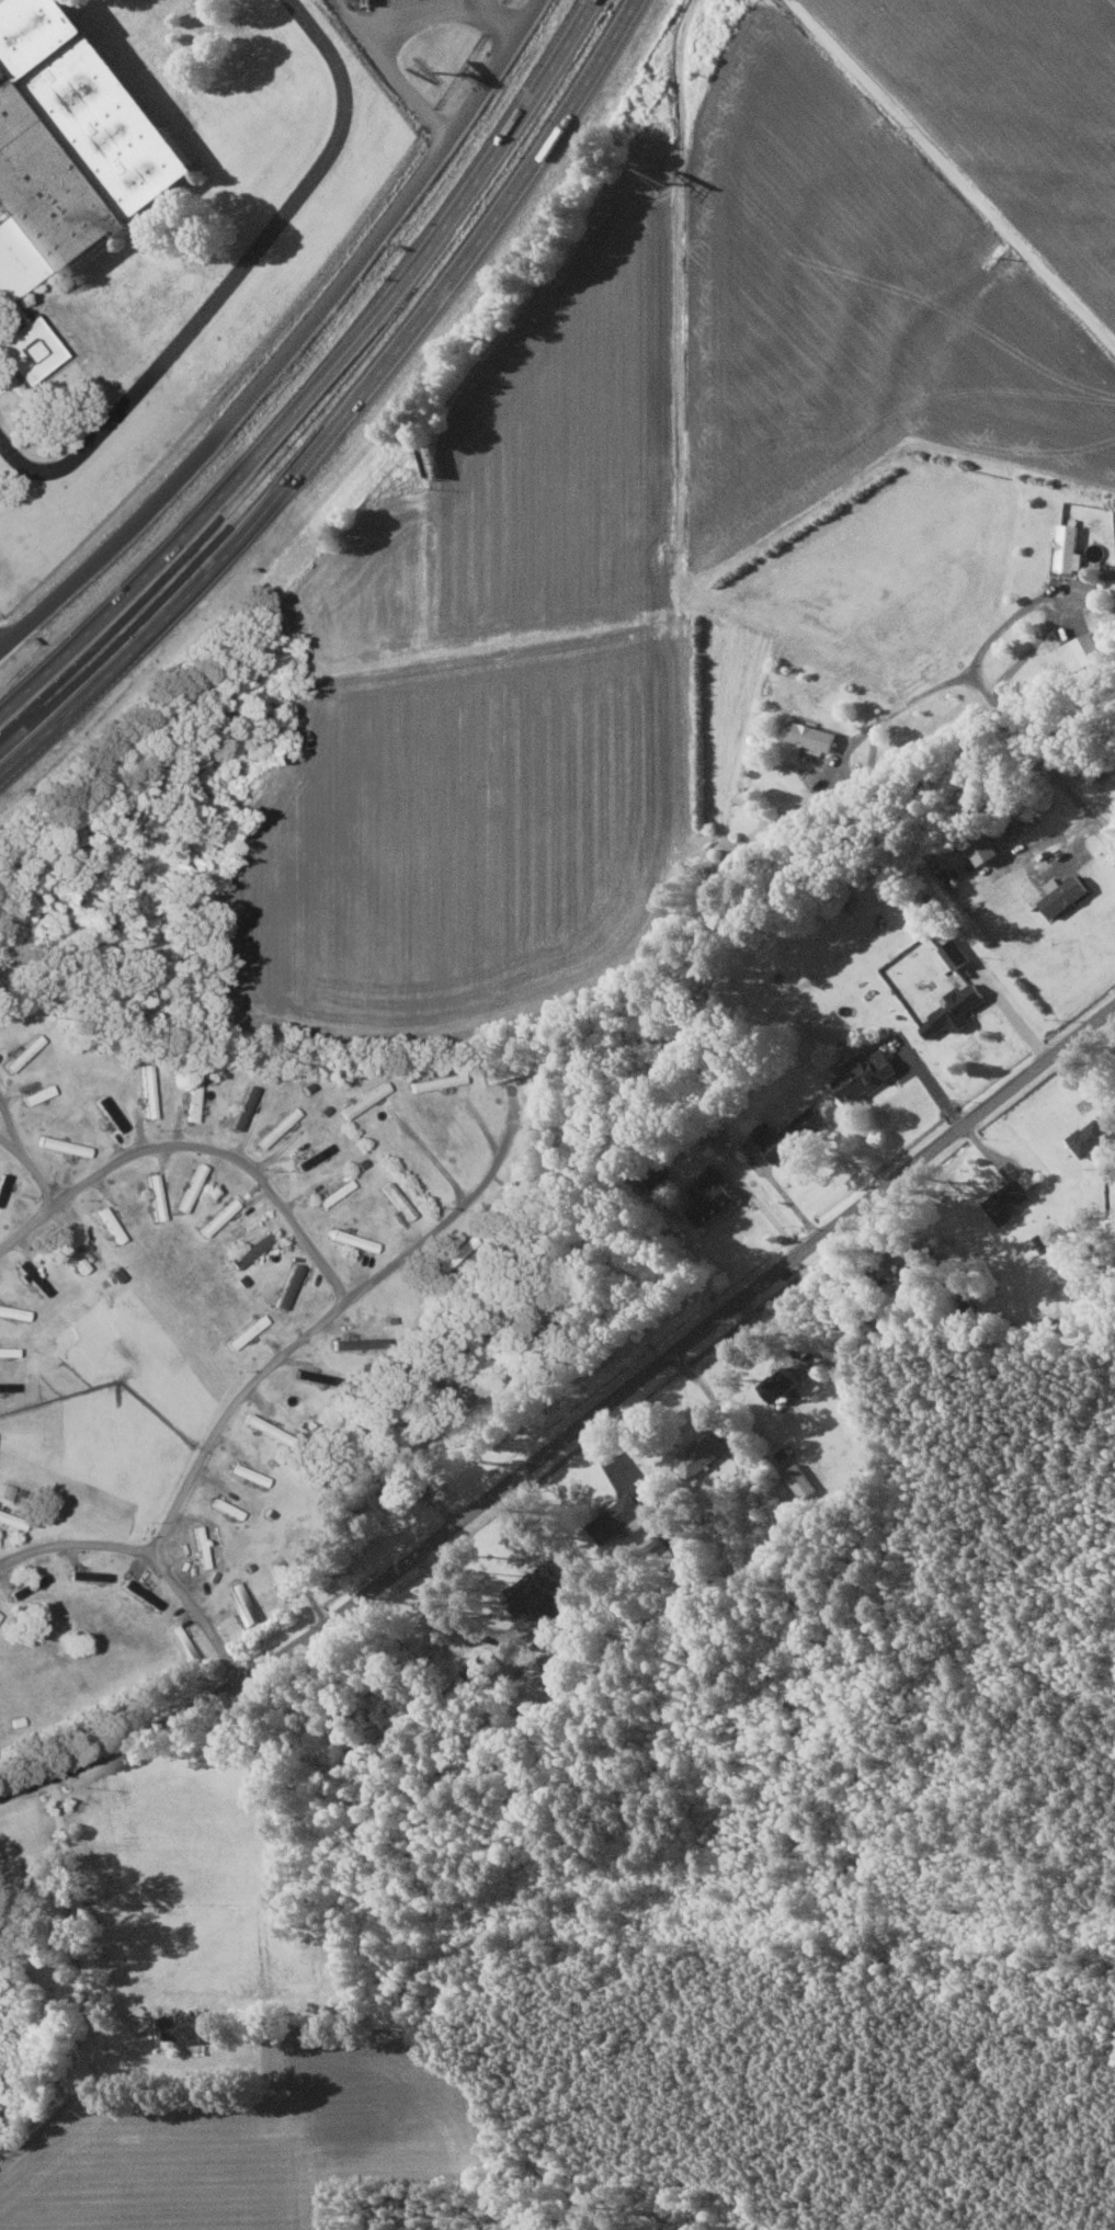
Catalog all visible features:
building: (68, 144)
road: (948, 173)
road: (292, 343)
building: (27, 351)
road: (689, 360)
road: (326, 383)
road: (352, 412)
building: (1068, 550)
road: (1004, 629)
building: (1082, 652)
road: (908, 705)
building: (810, 737)
road: (1043, 758)
building: (978, 854)
building: (1061, 896)
building: (955, 955)
building: (954, 1012)
building: (23, 1054)
building: (505, 1074)
building: (863, 1076)
building: (435, 1083)
building: (36, 1095)
building: (368, 1096)
building: (193, 1097)
building: (149, 1103)
building: (243, 1107)
road: (14, 1115)
building: (276, 1127)
building: (788, 1134)
road: (13, 1138)
road: (196, 1138)
building: (1089, 1138)
road: (47, 1173)
building: (195, 1174)
building: (708, 1196)
building: (183, 1199)
building: (1006, 1201)
building: (218, 1216)
building: (353, 1240)
building: (250, 1250)
building: (23, 1266)
building: (915, 1272)
building: (288, 1286)
building: (12, 1312)
building: (354, 1343)
building: (778, 1384)
building: (8, 1386)
road: (251, 1387)
building: (259, 1424)
road: (572, 1430)
building: (701, 1454)
building: (247, 1475)
building: (800, 1481)
building: (386, 1482)
building: (7, 1491)
building: (12, 1518)
building: (617, 1520)
building: (536, 1595)
road: (206, 1614)
building: (478, 1670)
road: (80, 1905)
building: (3, 1948)
building: (185, 2028)

